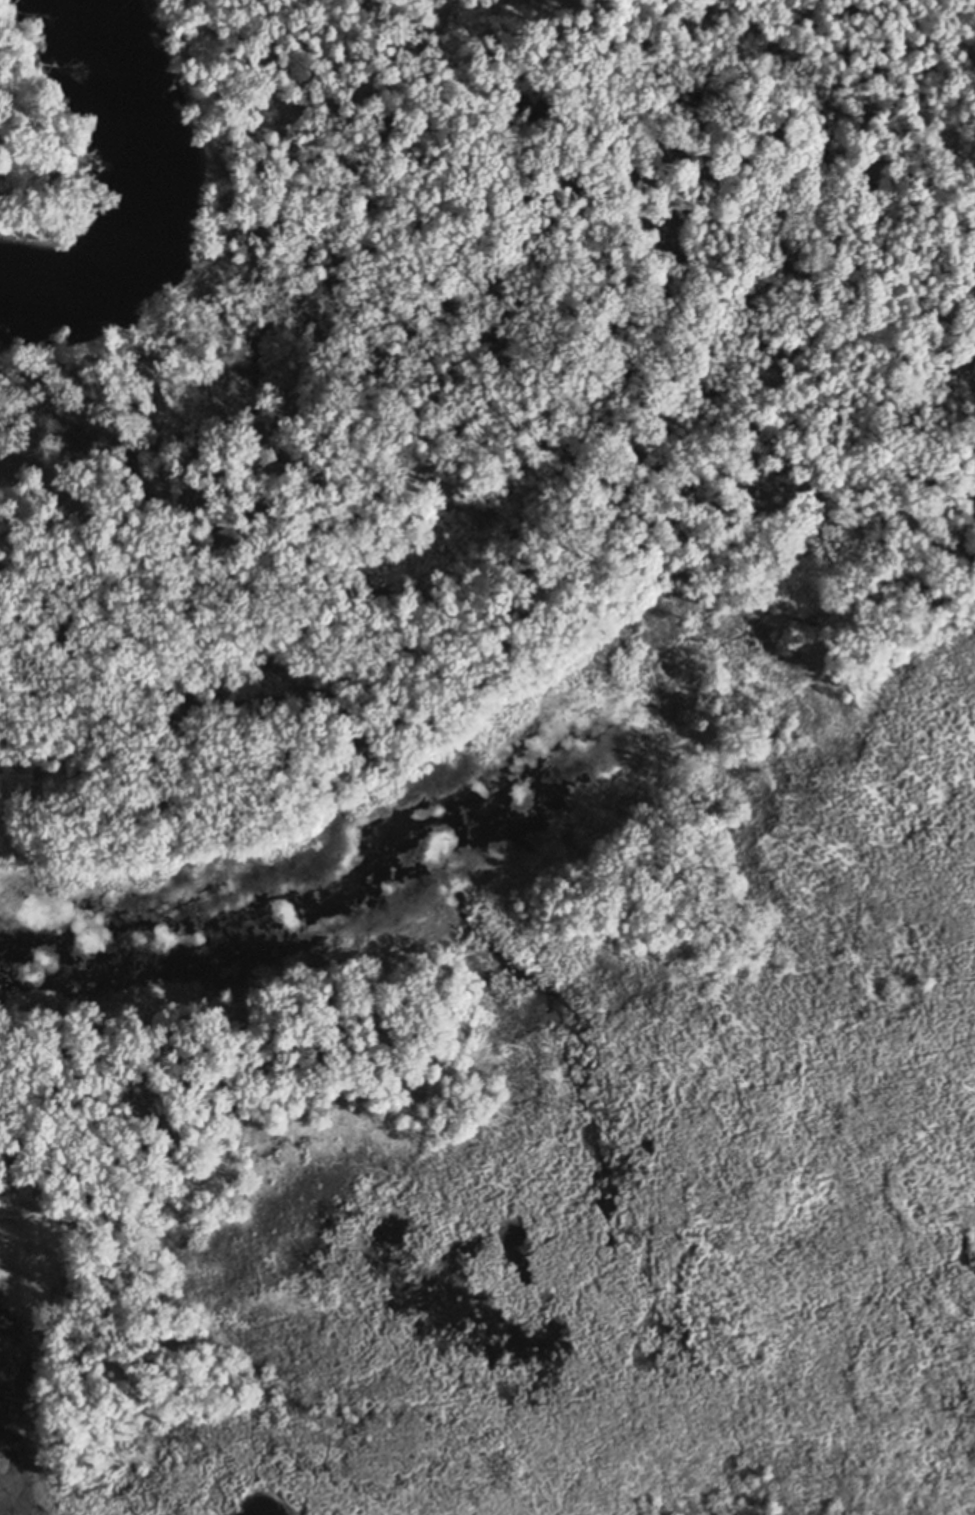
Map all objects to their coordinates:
river: (142, 187)

